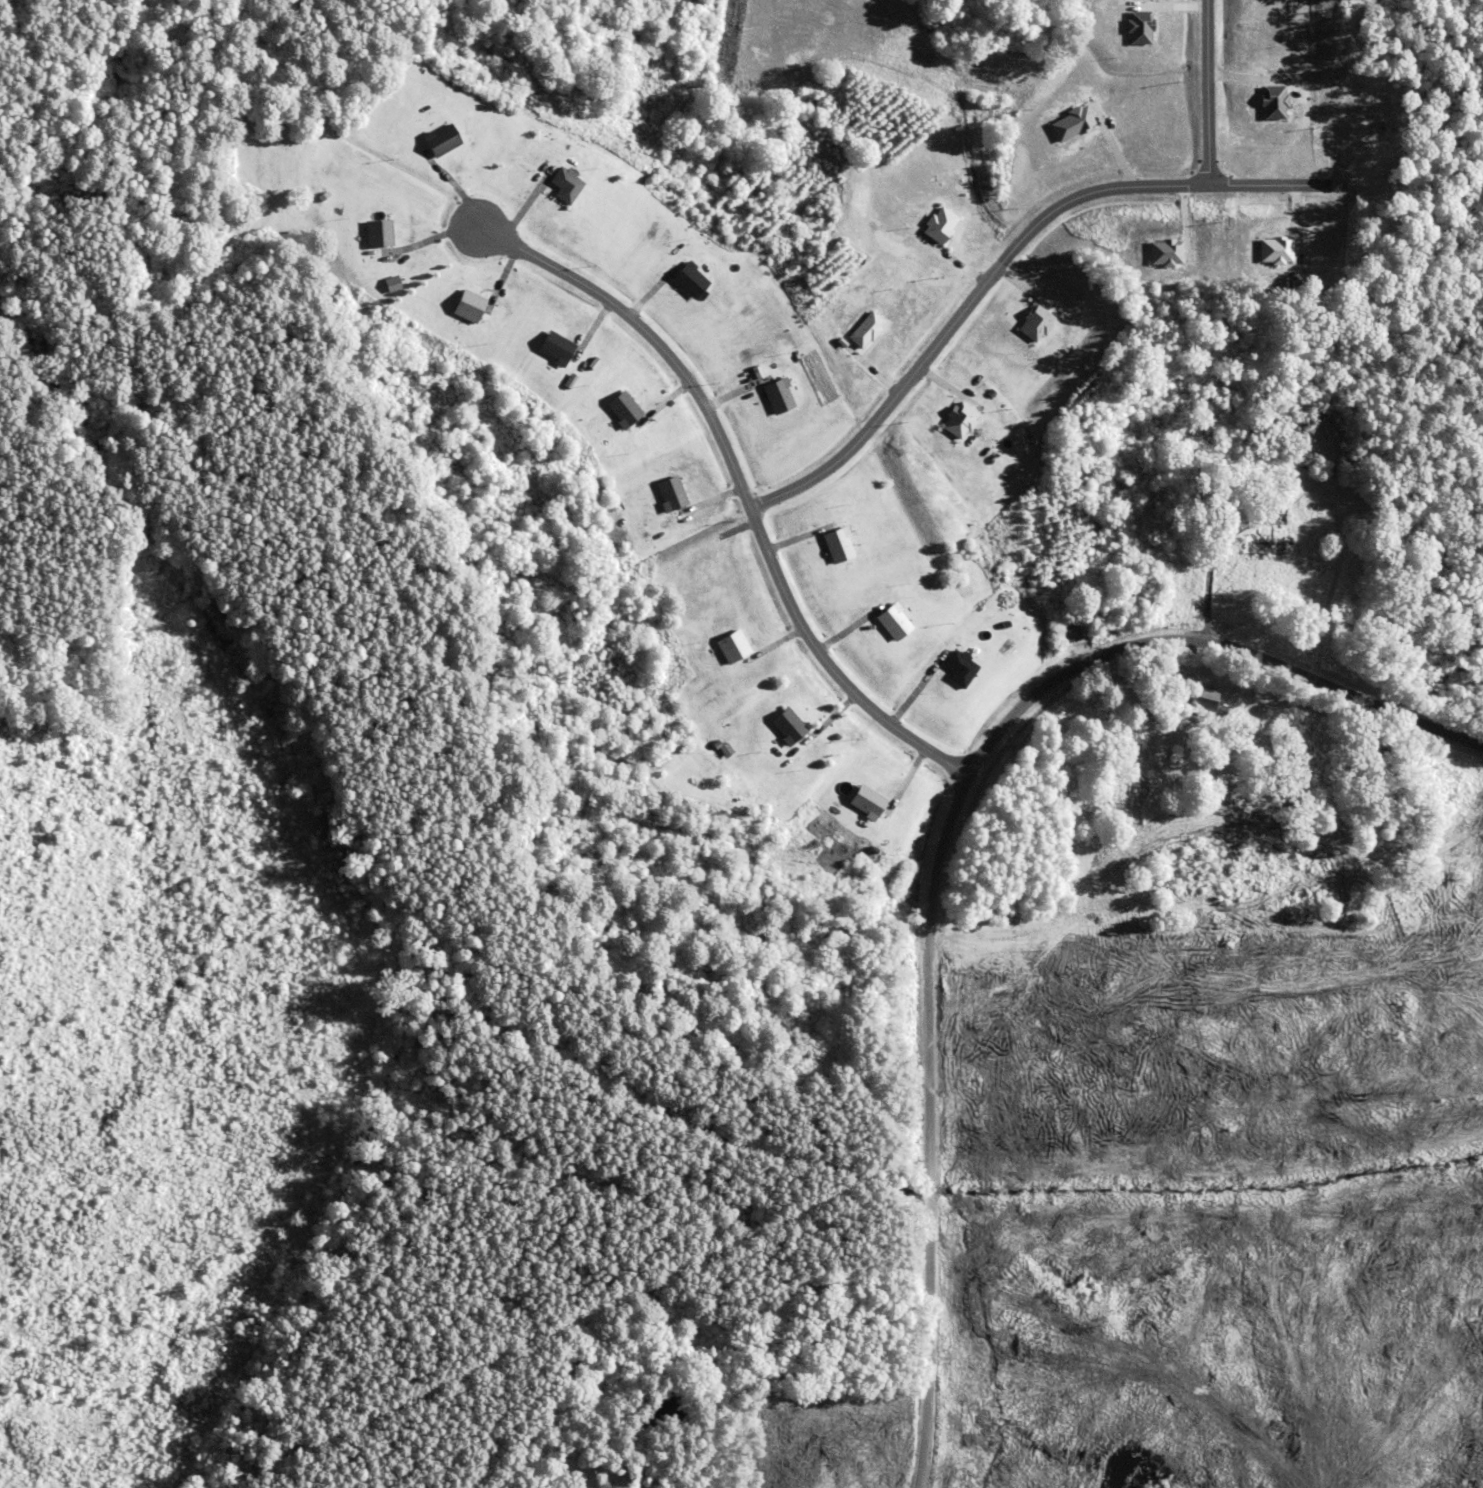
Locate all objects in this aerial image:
building: (1140, 30)
building: (1276, 105)
building: (1067, 126)
building: (427, 140)
building: (441, 144)
building: (563, 187)
building: (940, 228)
building: (375, 235)
road: (1019, 241)
building: (1274, 252)
building: (1164, 255)
building: (691, 282)
building: (376, 284)
building: (466, 308)
building: (1035, 325)
building: (869, 330)
building: (556, 354)
building: (777, 400)
building: (624, 412)
building: (959, 425)
road: (739, 484)
building: (671, 497)
building: (1259, 544)
building: (840, 549)
building: (894, 625)
building: (734, 650)
building: (959, 670)
building: (1197, 701)
building: (789, 730)
building: (867, 806)
road: (939, 834)

